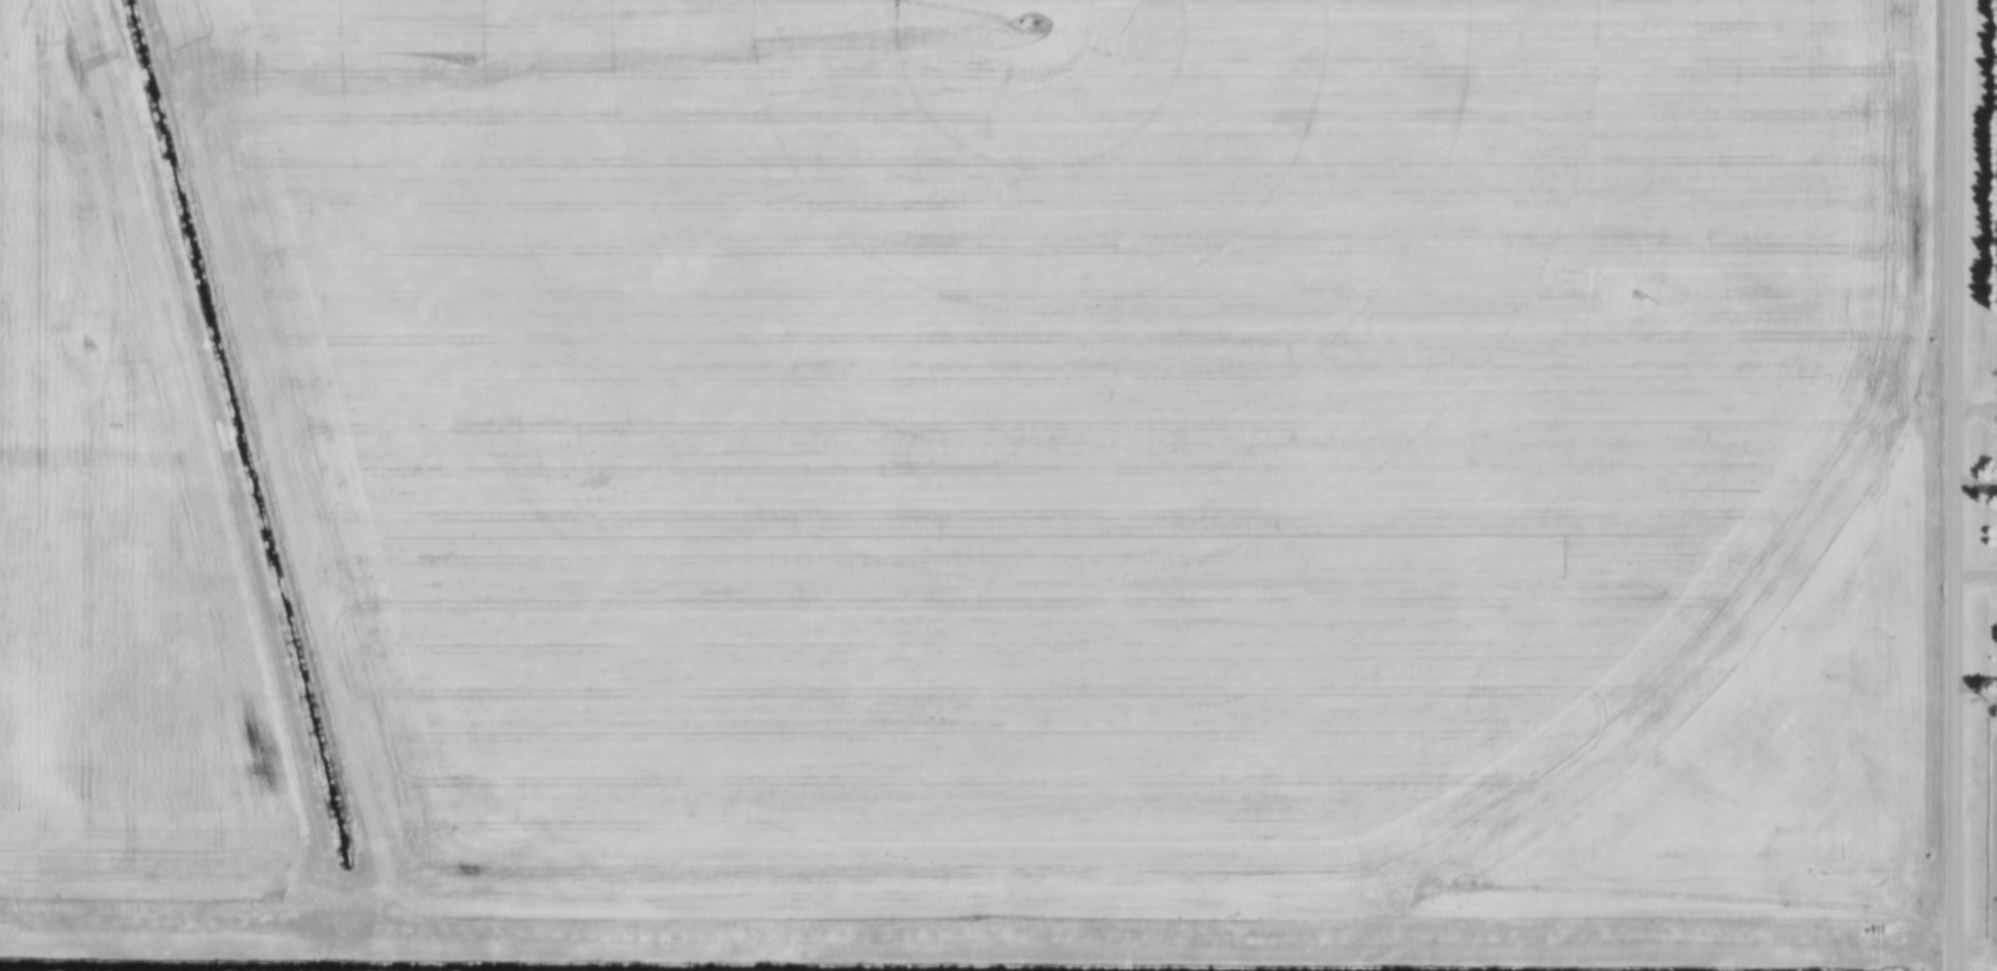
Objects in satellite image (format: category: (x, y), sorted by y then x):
road: (1958, 485)

